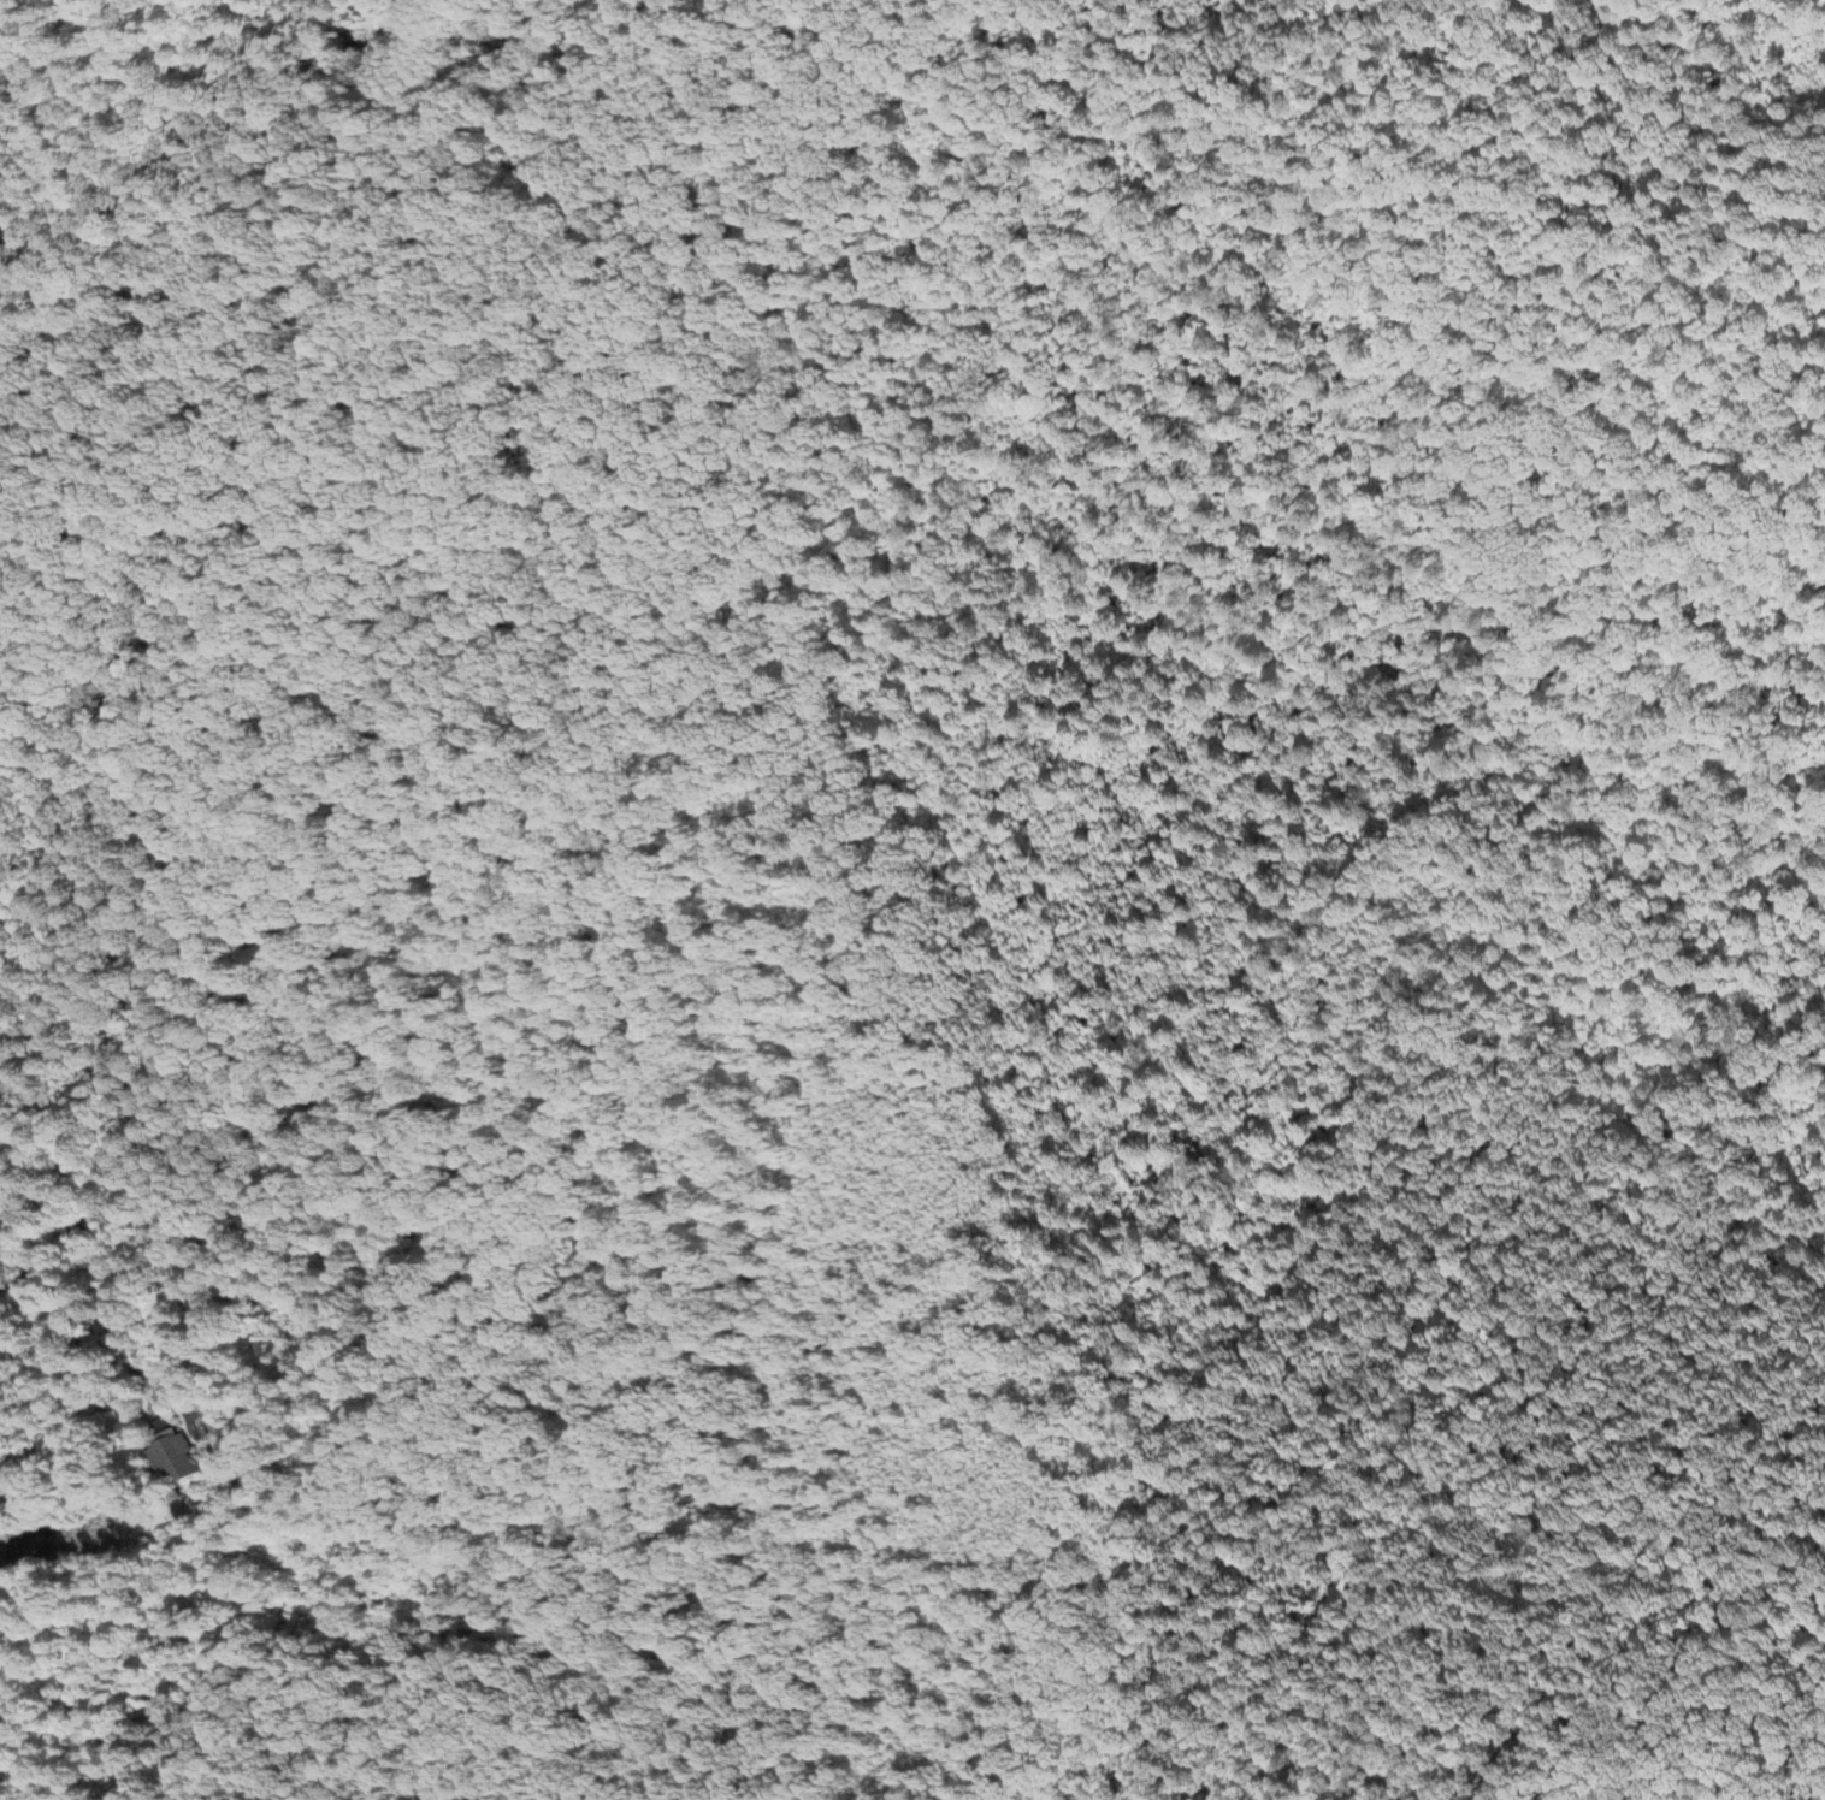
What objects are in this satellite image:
road: (98, 1254)
building: (177, 1459)

